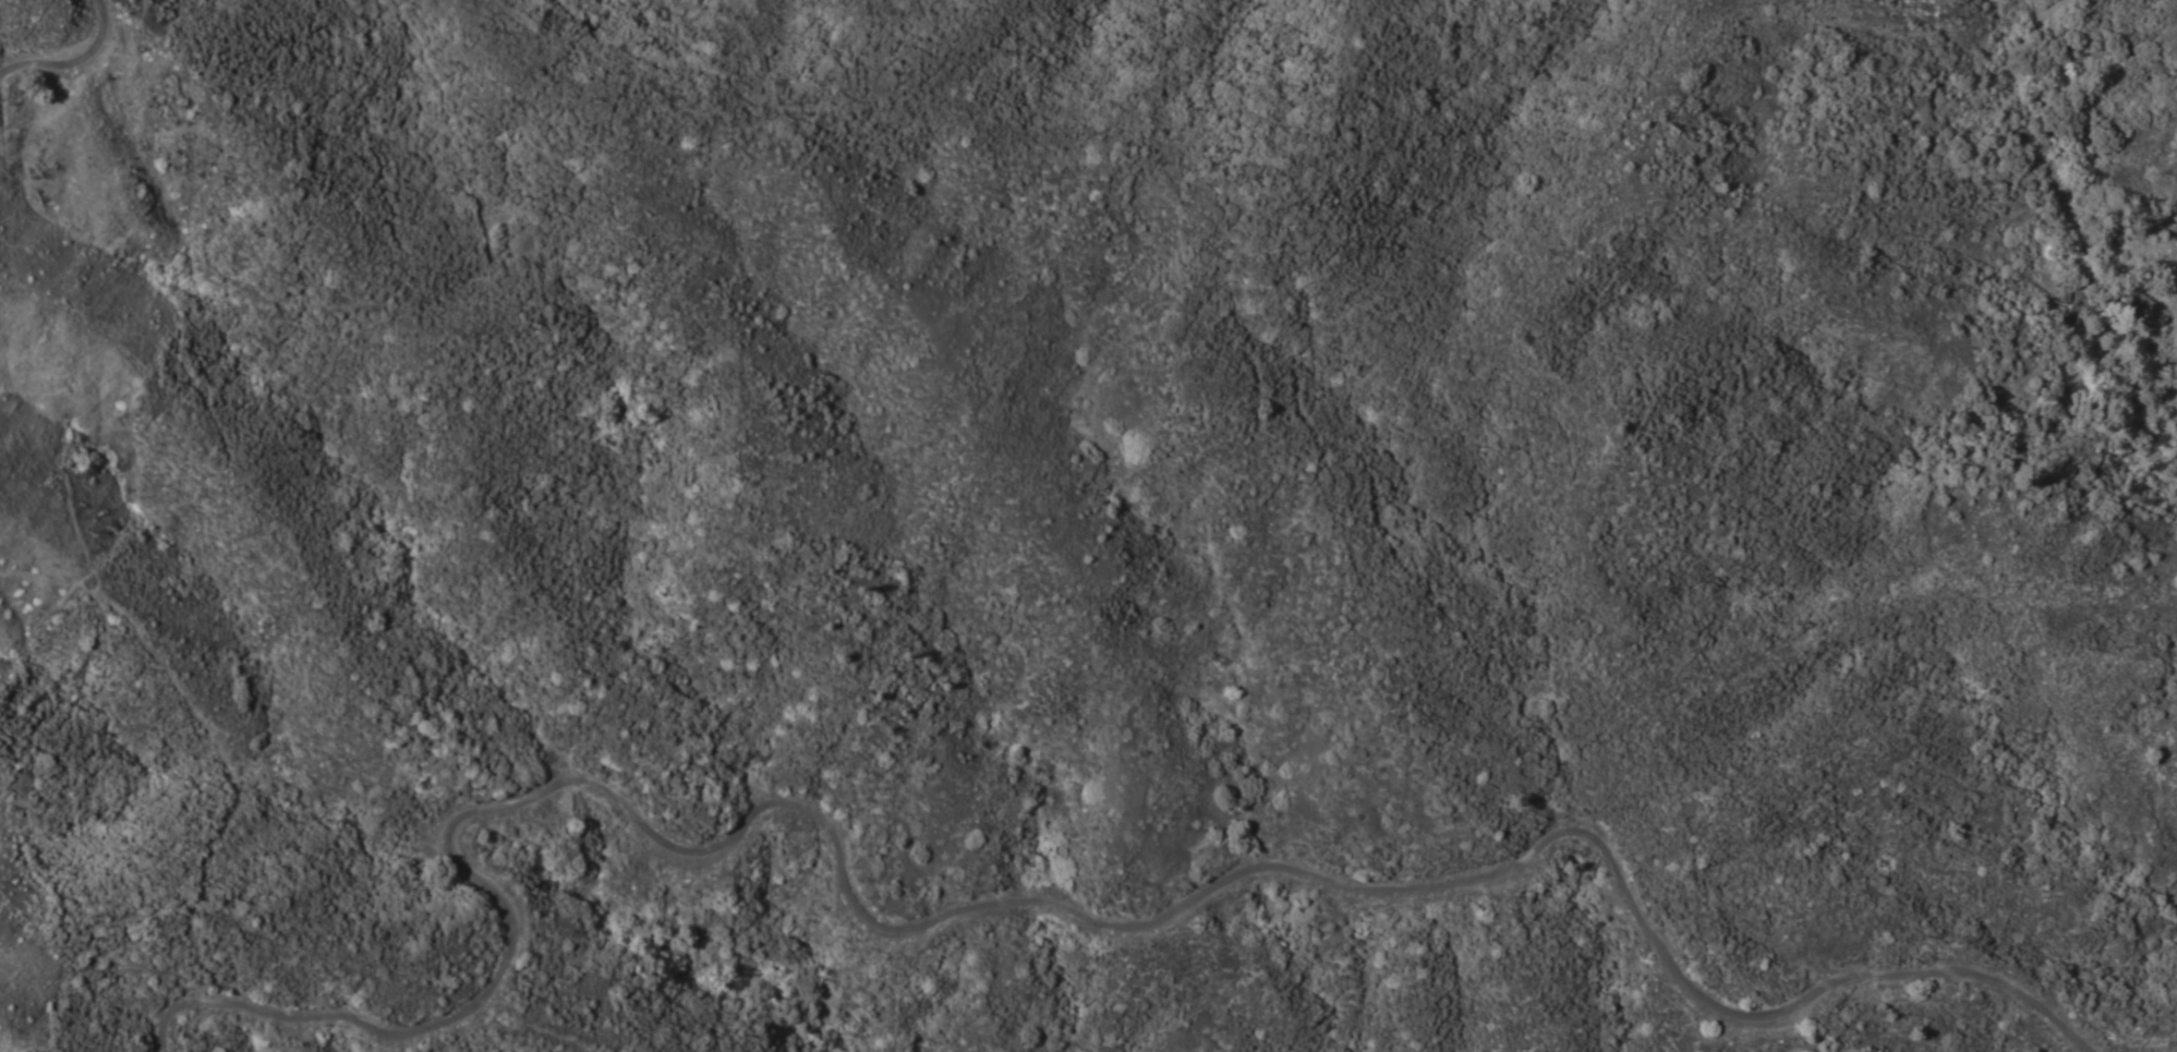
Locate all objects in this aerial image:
road: (74, 64)
road: (385, 197)
road: (2107, 201)
building: (2142, 306)
road: (1025, 905)

